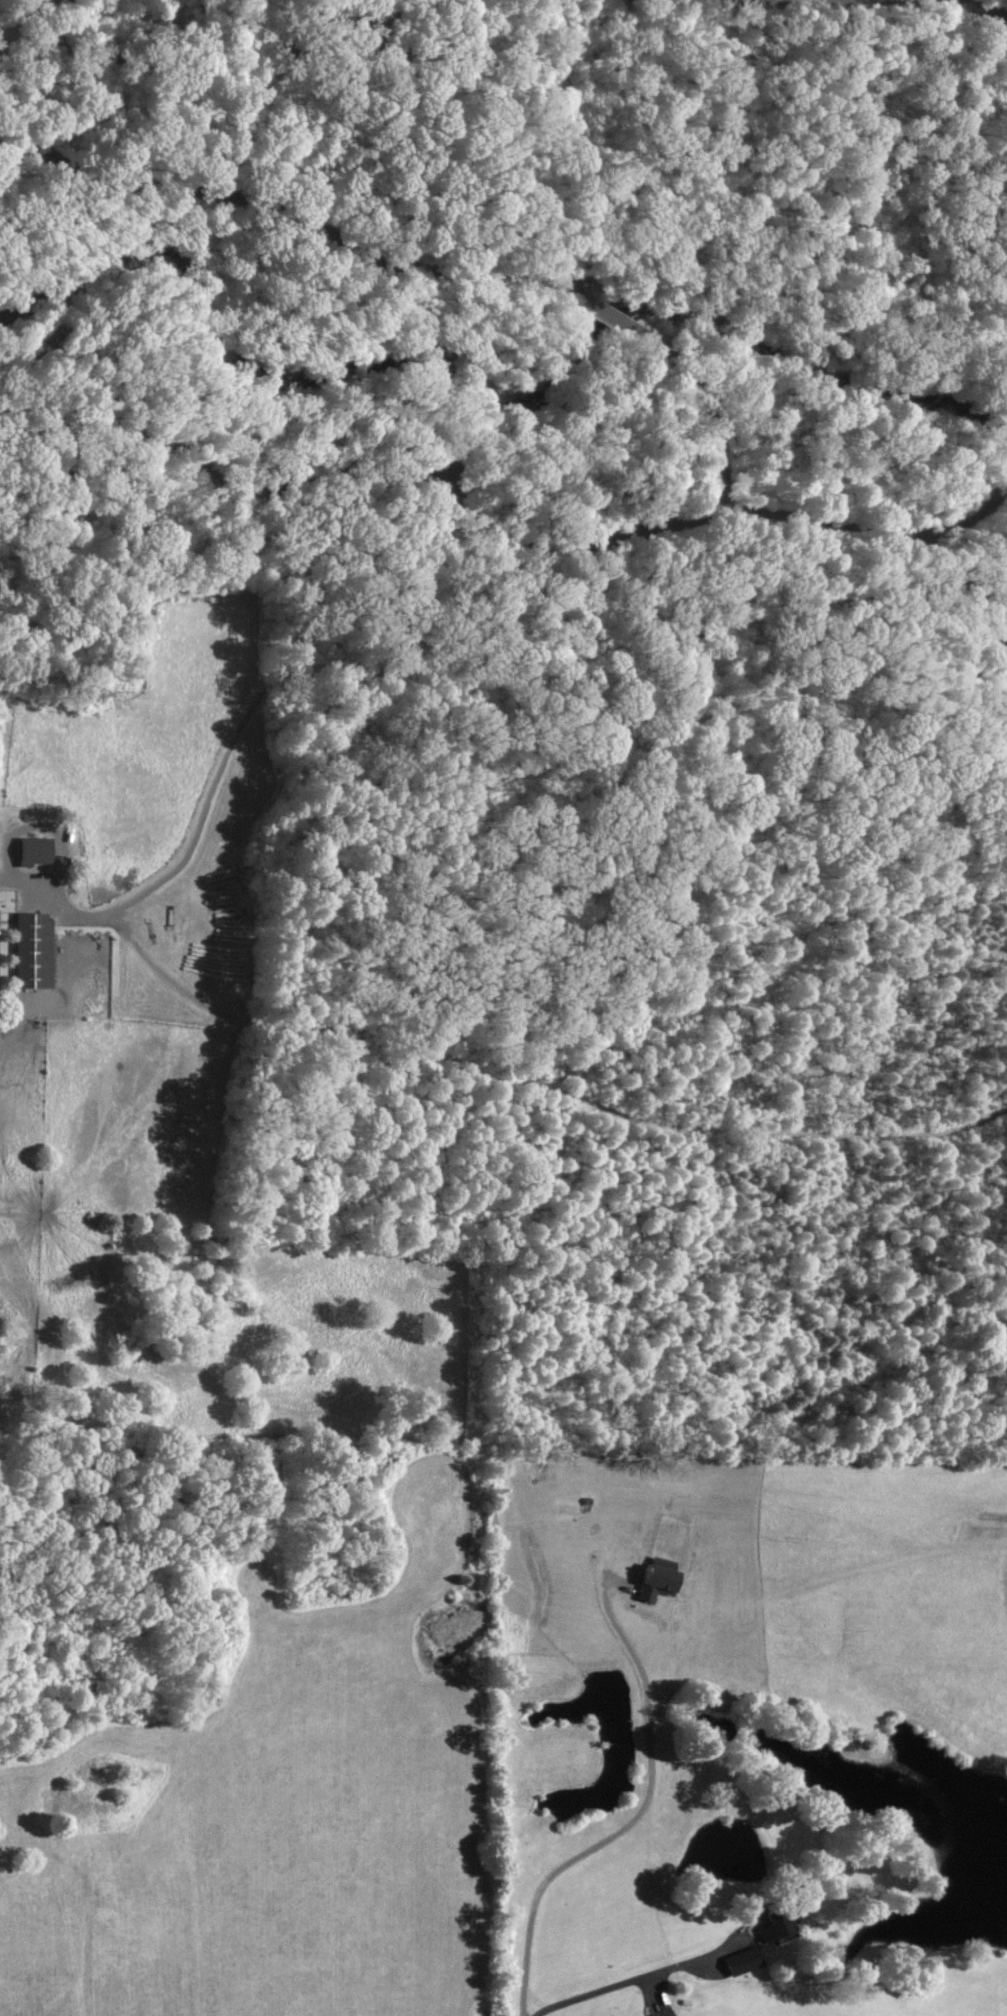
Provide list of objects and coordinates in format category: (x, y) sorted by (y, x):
road: (61, 10)
road: (979, 11)
building: (343, 19)
parking lot: (3, 80)
road: (205, 88)
road: (625, 138)
road: (277, 214)
parking lot: (571, 282)
road: (612, 320)
road: (713, 406)
road: (355, 410)
road: (358, 469)
parking lot: (444, 484)
road: (870, 526)
building: (33, 852)
building: (34, 953)
parking lot: (0, 972)
building: (655, 1582)
road: (635, 1821)
building: (779, 1925)
building: (746, 1960)
road: (627, 1983)

